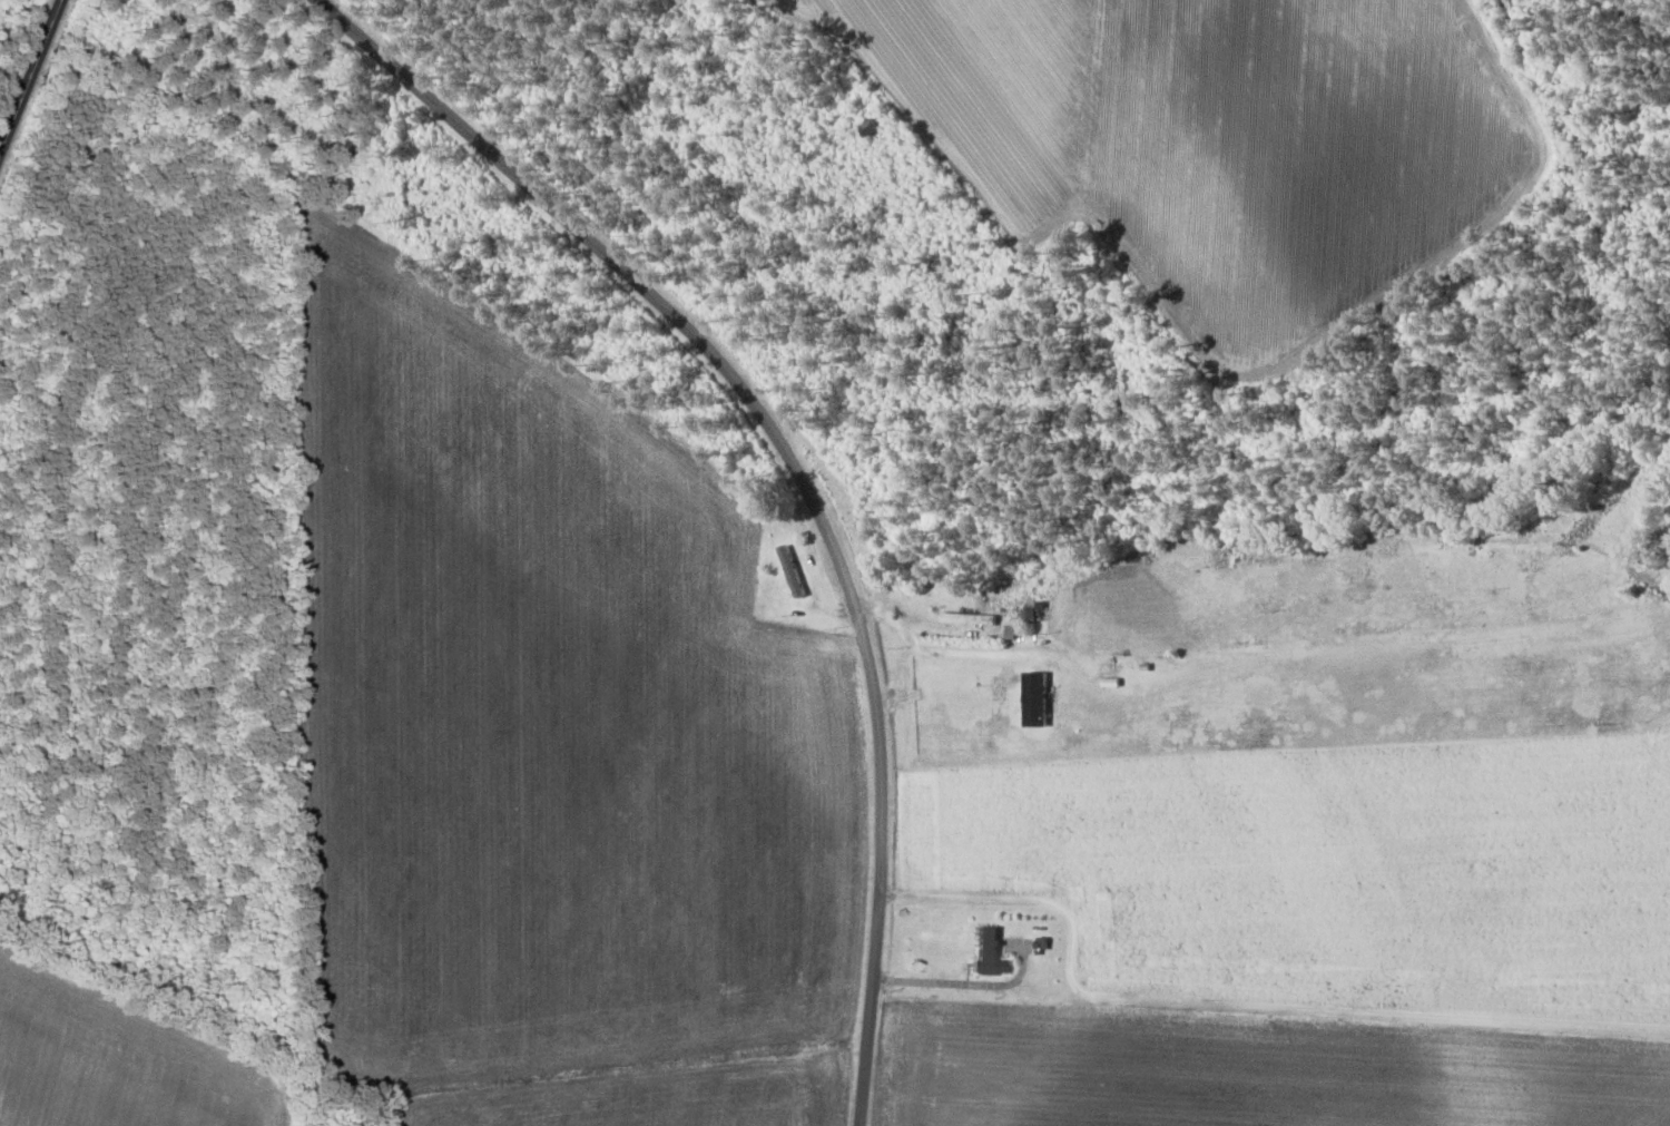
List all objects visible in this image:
road: (28, 71)
road: (811, 459)
building: (1034, 699)
building: (988, 952)

